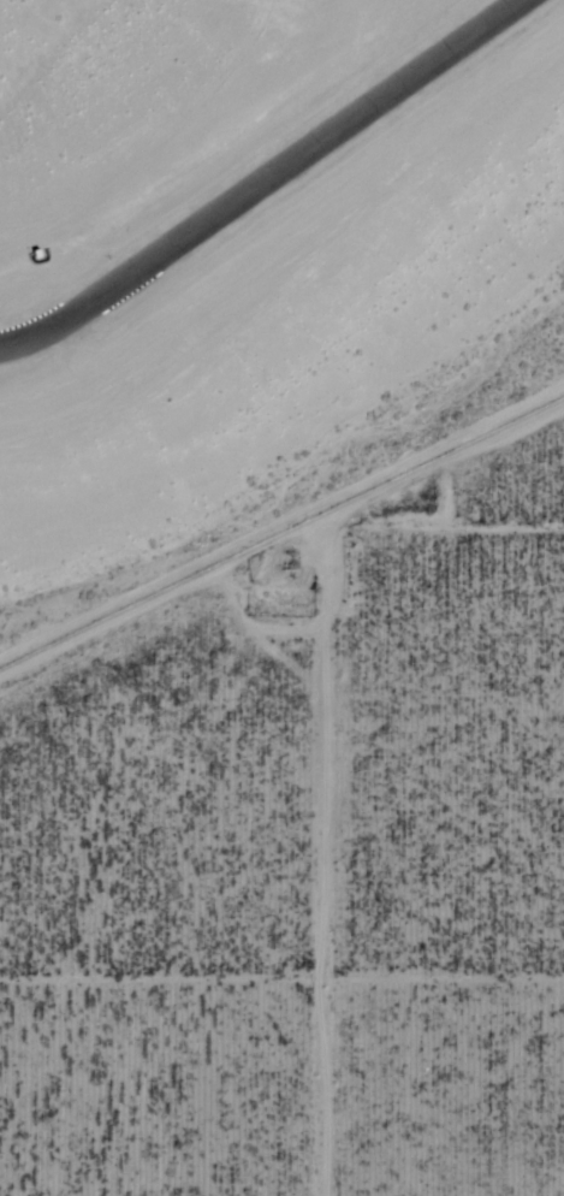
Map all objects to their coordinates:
raceway: (263, 179)
crop: (301, 862)

